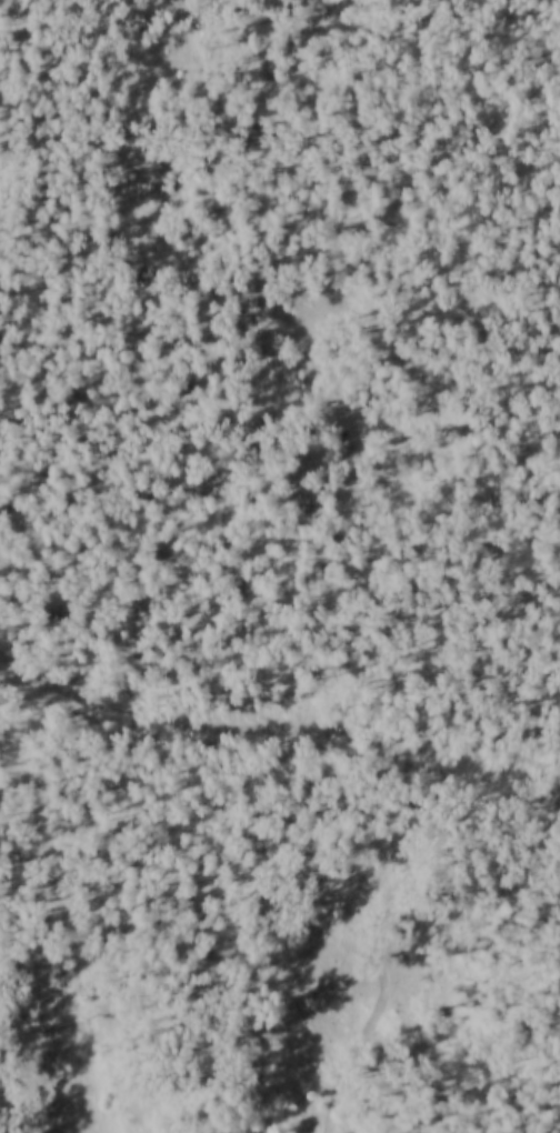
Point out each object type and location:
road: (230, 6)
road: (537, 557)
park: (280, 566)

